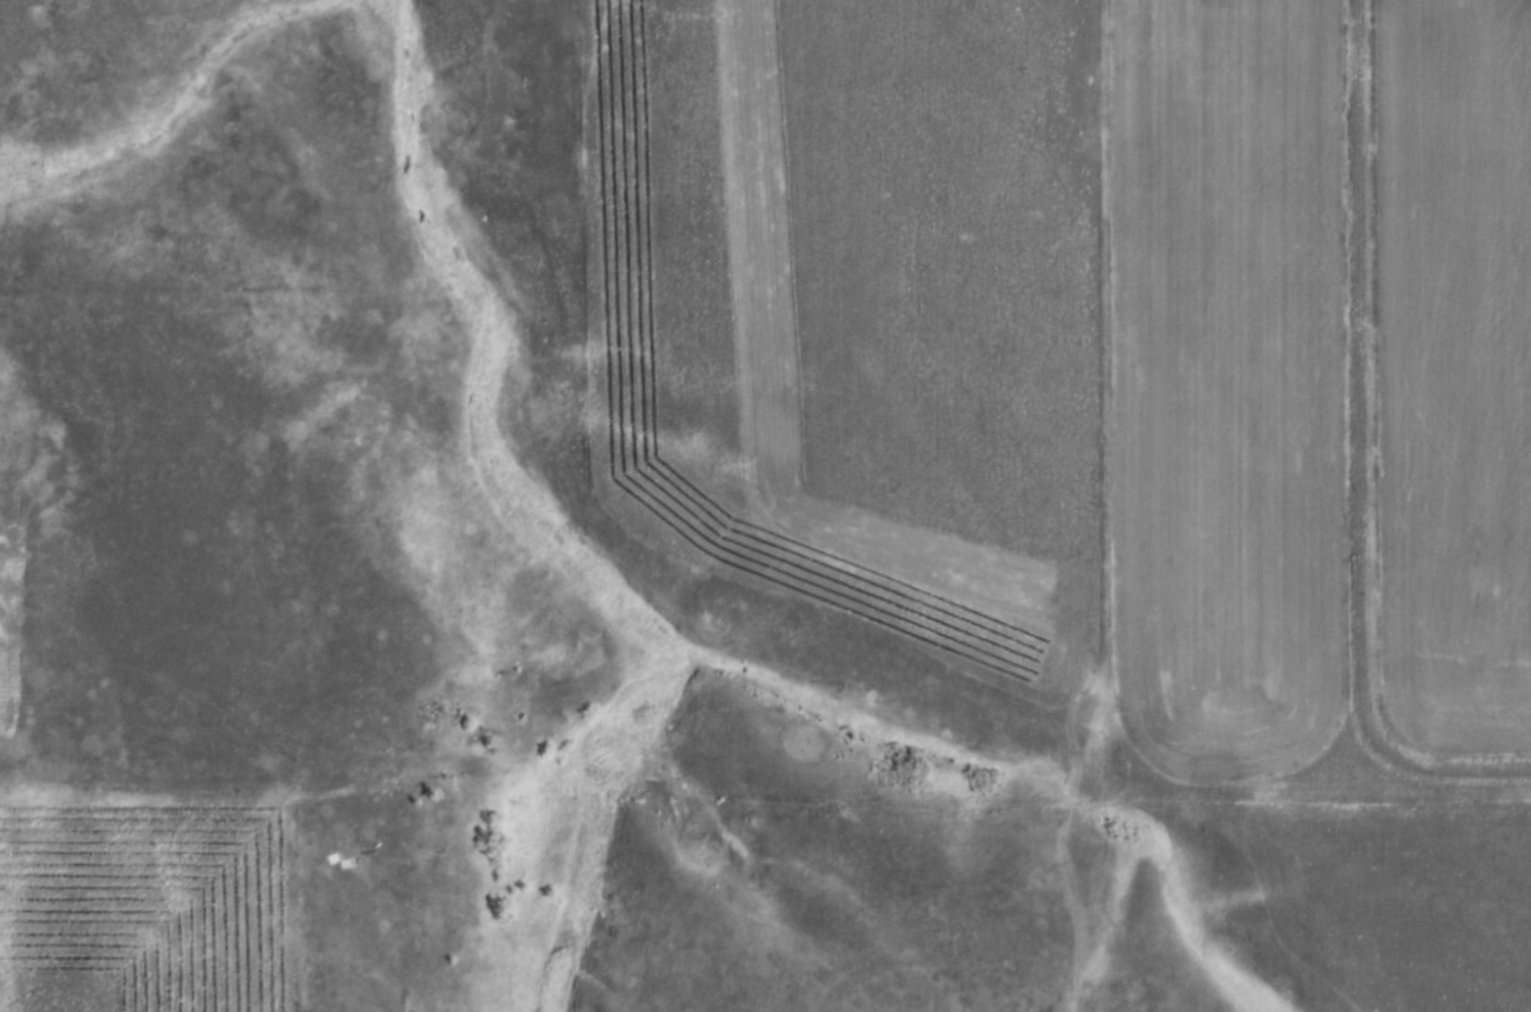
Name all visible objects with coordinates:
road: (1356, 456)

